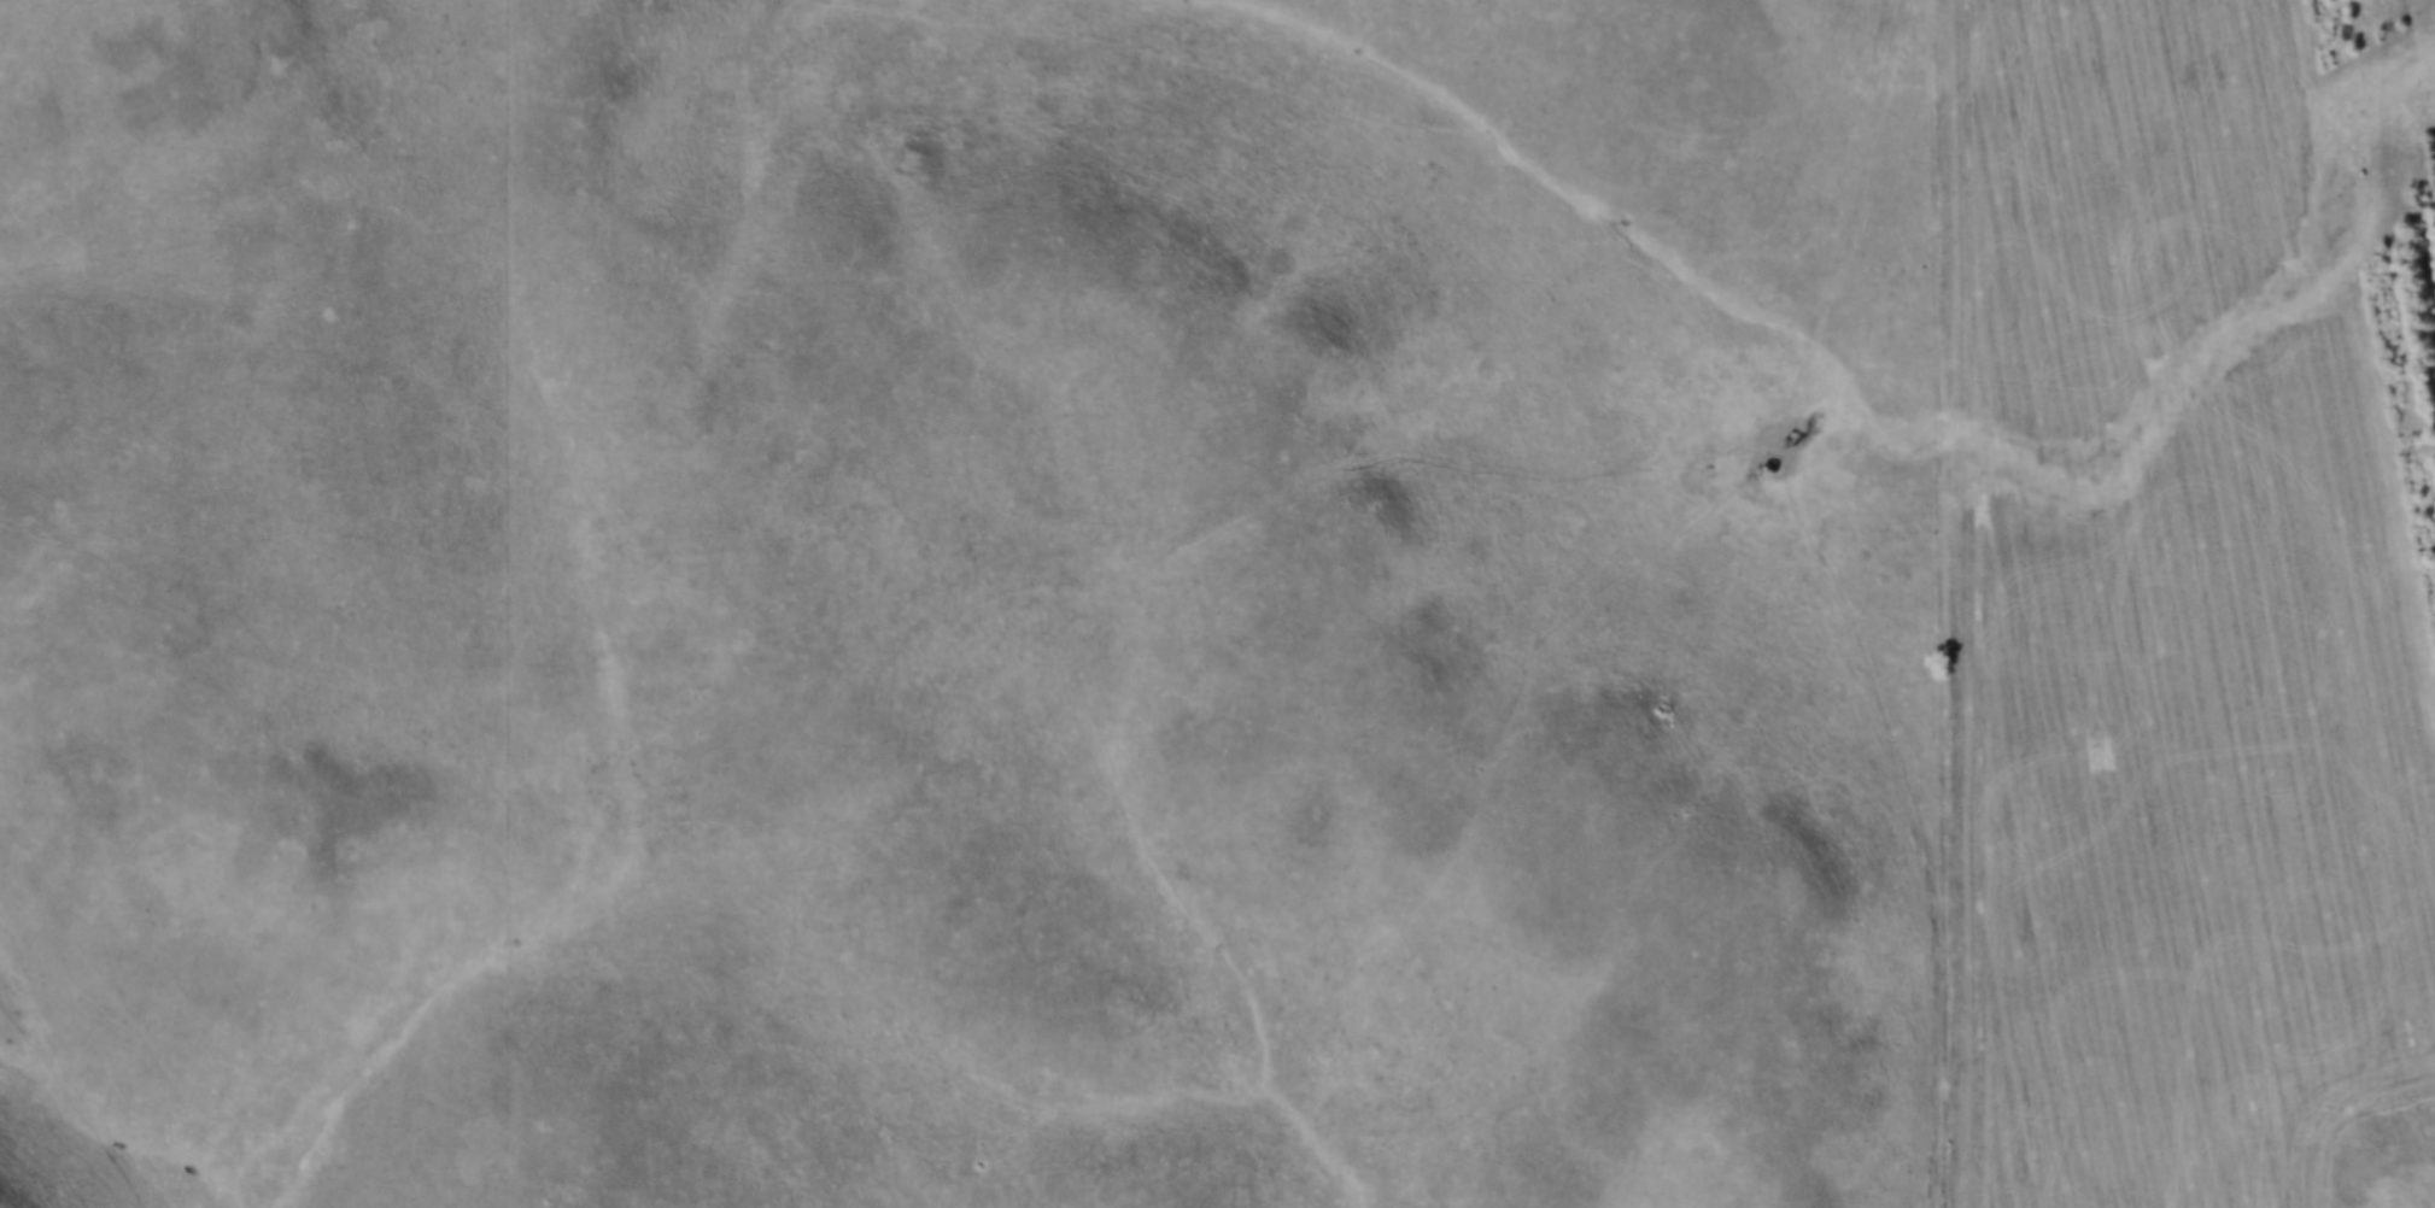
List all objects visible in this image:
road: (513, 604)

